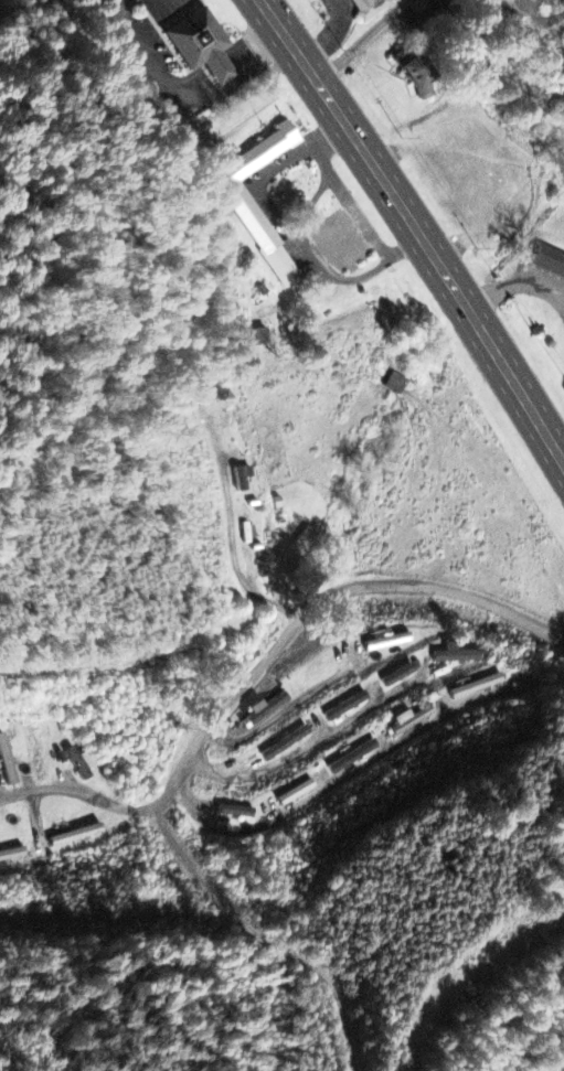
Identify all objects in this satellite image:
building: (369, 9)
road: (531, 19)
road: (363, 40)
building: (202, 46)
building: (417, 76)
road: (416, 228)
building: (260, 231)
building: (341, 243)
building: (550, 264)
building: (257, 339)
building: (243, 480)
road: (232, 540)
building: (387, 644)
building: (455, 656)
building: (398, 677)
building: (347, 708)
building: (264, 711)
building: (412, 721)
road: (207, 727)
building: (286, 746)
road: (307, 747)
building: (35, 753)
building: (354, 758)
building: (7, 763)
building: (82, 765)
road: (87, 793)
building: (297, 794)
road: (308, 800)
building: (236, 814)
building: (76, 837)
building: (12, 856)
road: (120, 923)

